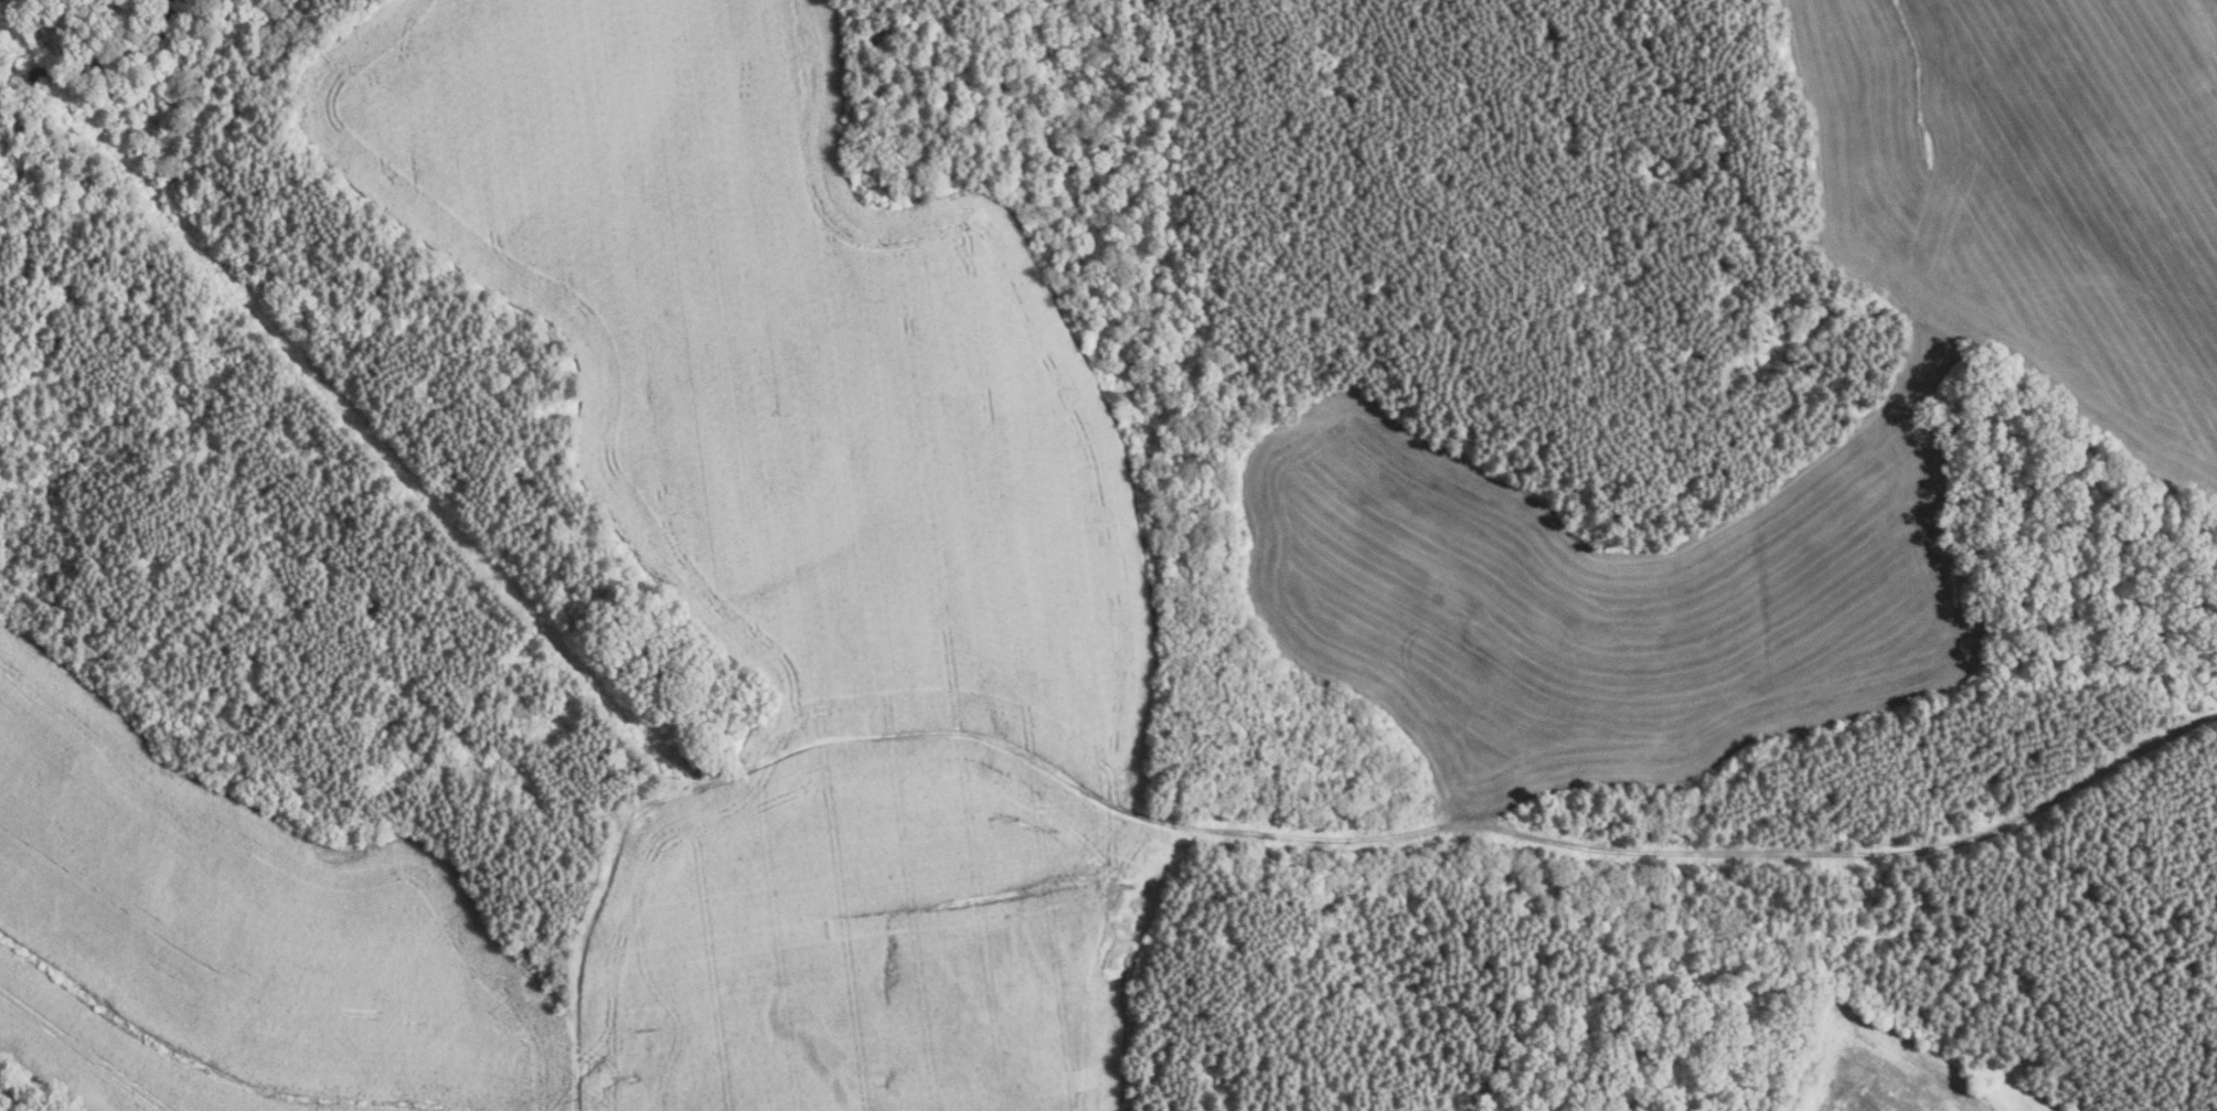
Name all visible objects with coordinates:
road: (2204, 30)
crop: (2130, 403)
crop: (877, 522)
road: (1268, 837)
crop: (1895, 1069)

